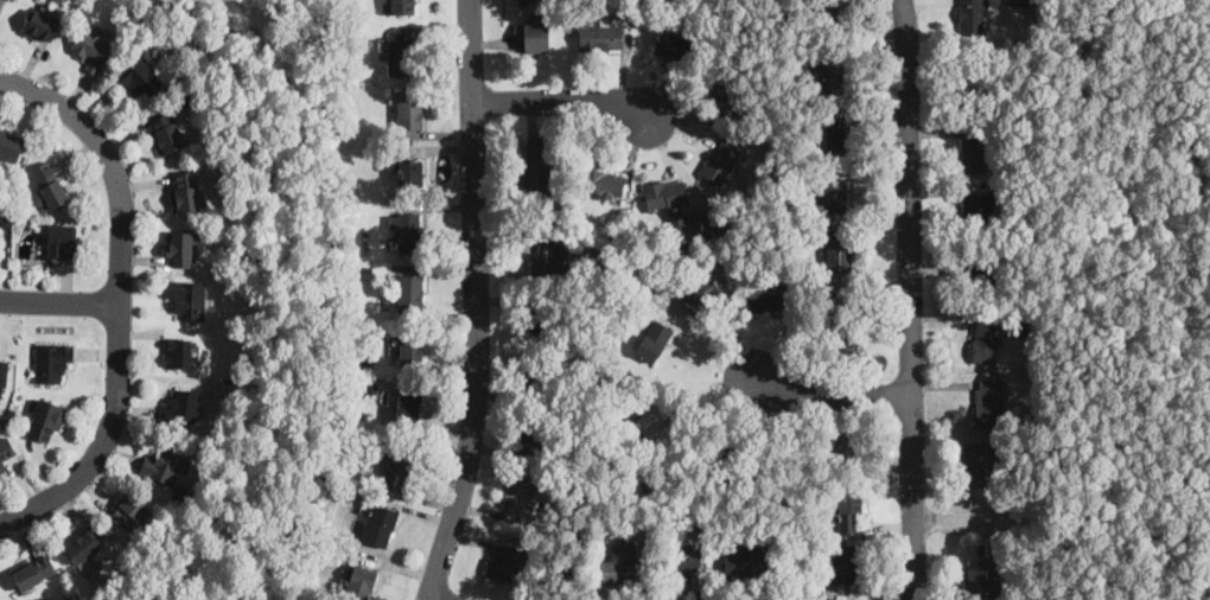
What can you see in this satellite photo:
building: (1018, 1)
building: (402, 6)
building: (834, 9)
building: (972, 18)
building: (43, 23)
building: (535, 36)
building: (603, 37)
building: (674, 40)
building: (93, 45)
building: (400, 52)
building: (829, 71)
building: (139, 75)
building: (970, 77)
building: (724, 94)
road: (561, 97)
building: (409, 109)
building: (835, 127)
building: (165, 132)
building: (9, 143)
building: (973, 153)
building: (720, 160)
building: (535, 168)
building: (409, 172)
building: (603, 181)
building: (49, 185)
building: (185, 190)
building: (834, 196)
building: (675, 205)
building: (977, 208)
building: (1, 219)
building: (406, 230)
building: (59, 241)
building: (179, 247)
building: (836, 249)
building: (547, 255)
building: (981, 268)
building: (410, 289)
building: (700, 293)
building: (765, 295)
road: (114, 296)
building: (186, 298)
road: (56, 299)
road: (911, 299)
park: (1125, 299)
road: (475, 302)
building: (542, 314)
building: (654, 338)
building: (983, 344)
building: (177, 351)
building: (409, 353)
building: (52, 359)
building: (2, 376)
road: (822, 395)
building: (988, 401)
building: (408, 403)
building: (180, 406)
building: (45, 419)
building: (651, 425)
building: (535, 436)
building: (846, 446)
building: (5, 451)
building: (974, 457)
building: (163, 464)
building: (396, 470)
building: (520, 496)
building: (845, 508)
building: (128, 509)
road: (975, 521)
building: (381, 523)
building: (84, 543)
building: (501, 560)
building: (740, 560)
building: (687, 562)
building: (843, 563)
building: (617, 564)
building: (32, 570)
building: (980, 575)
building: (361, 580)
road: (435, 598)

